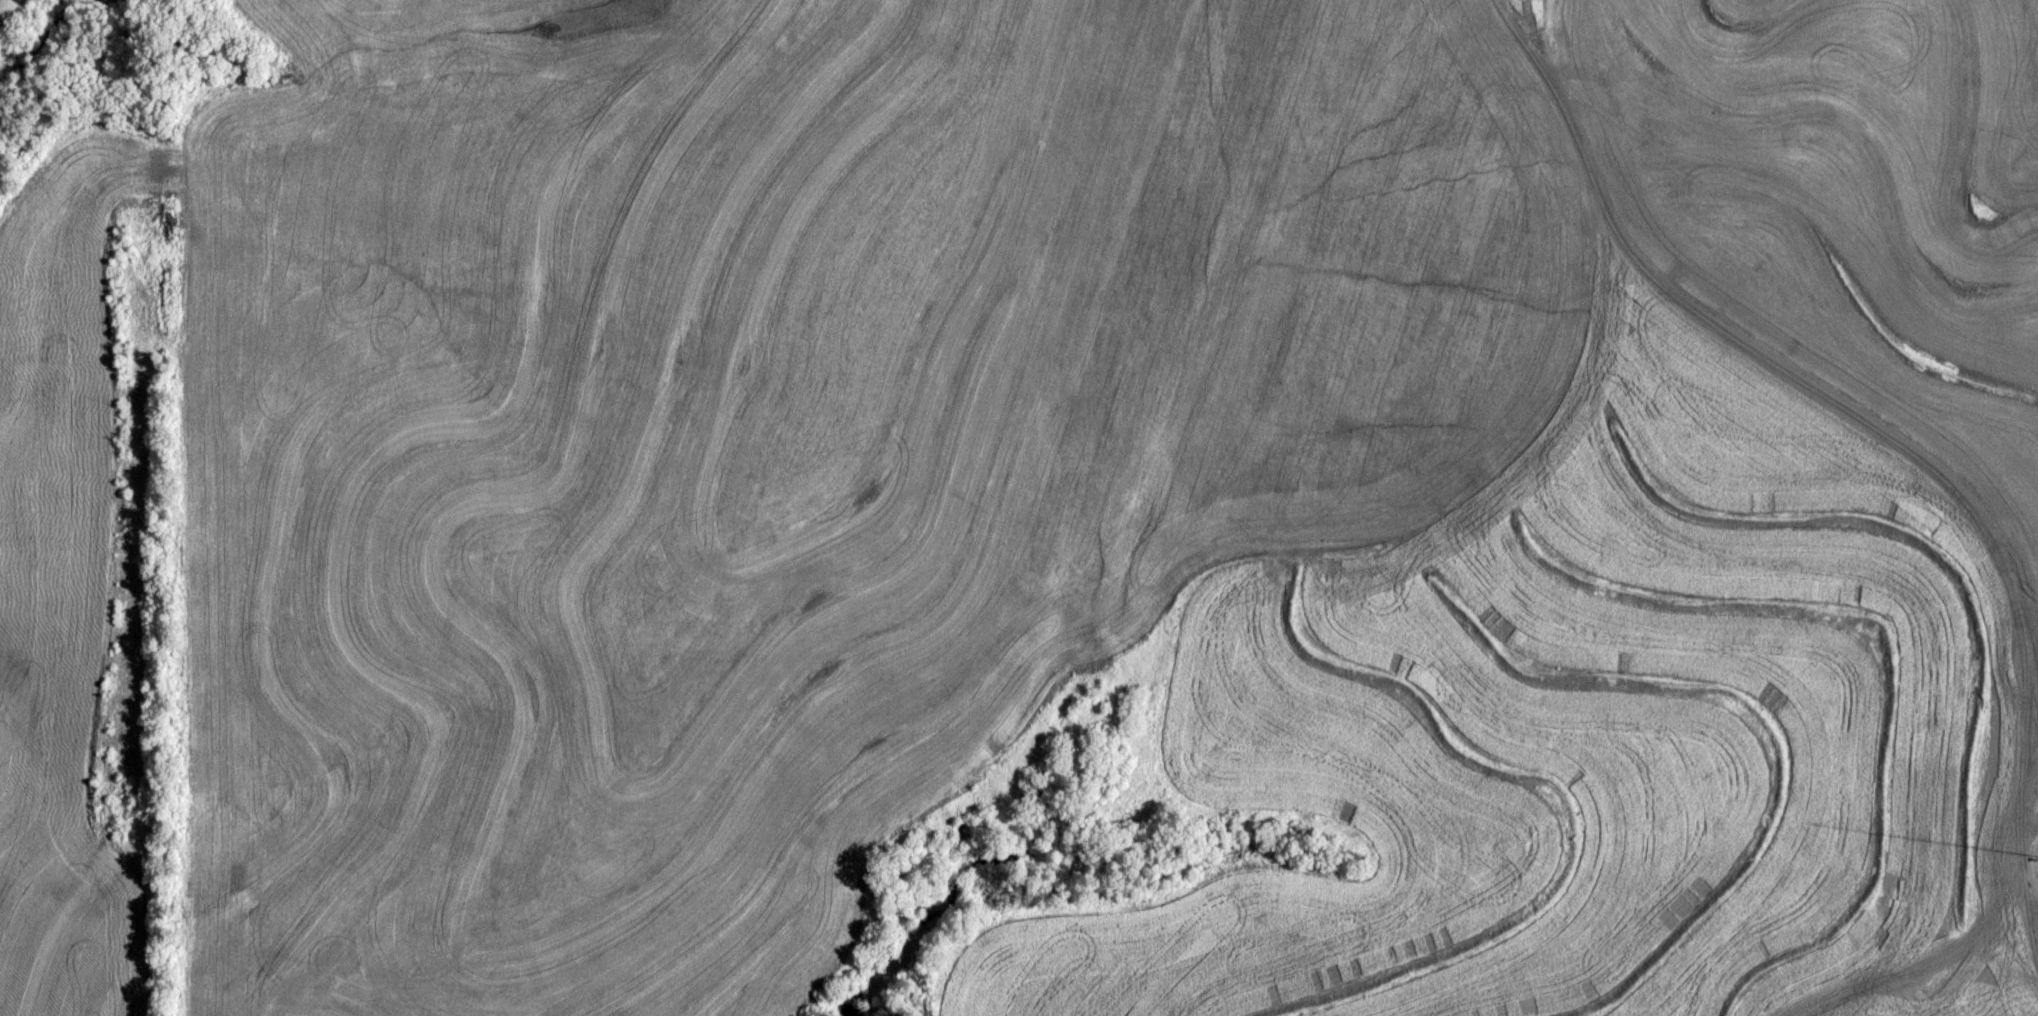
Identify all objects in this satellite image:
wind turbine: (2033, 852)

